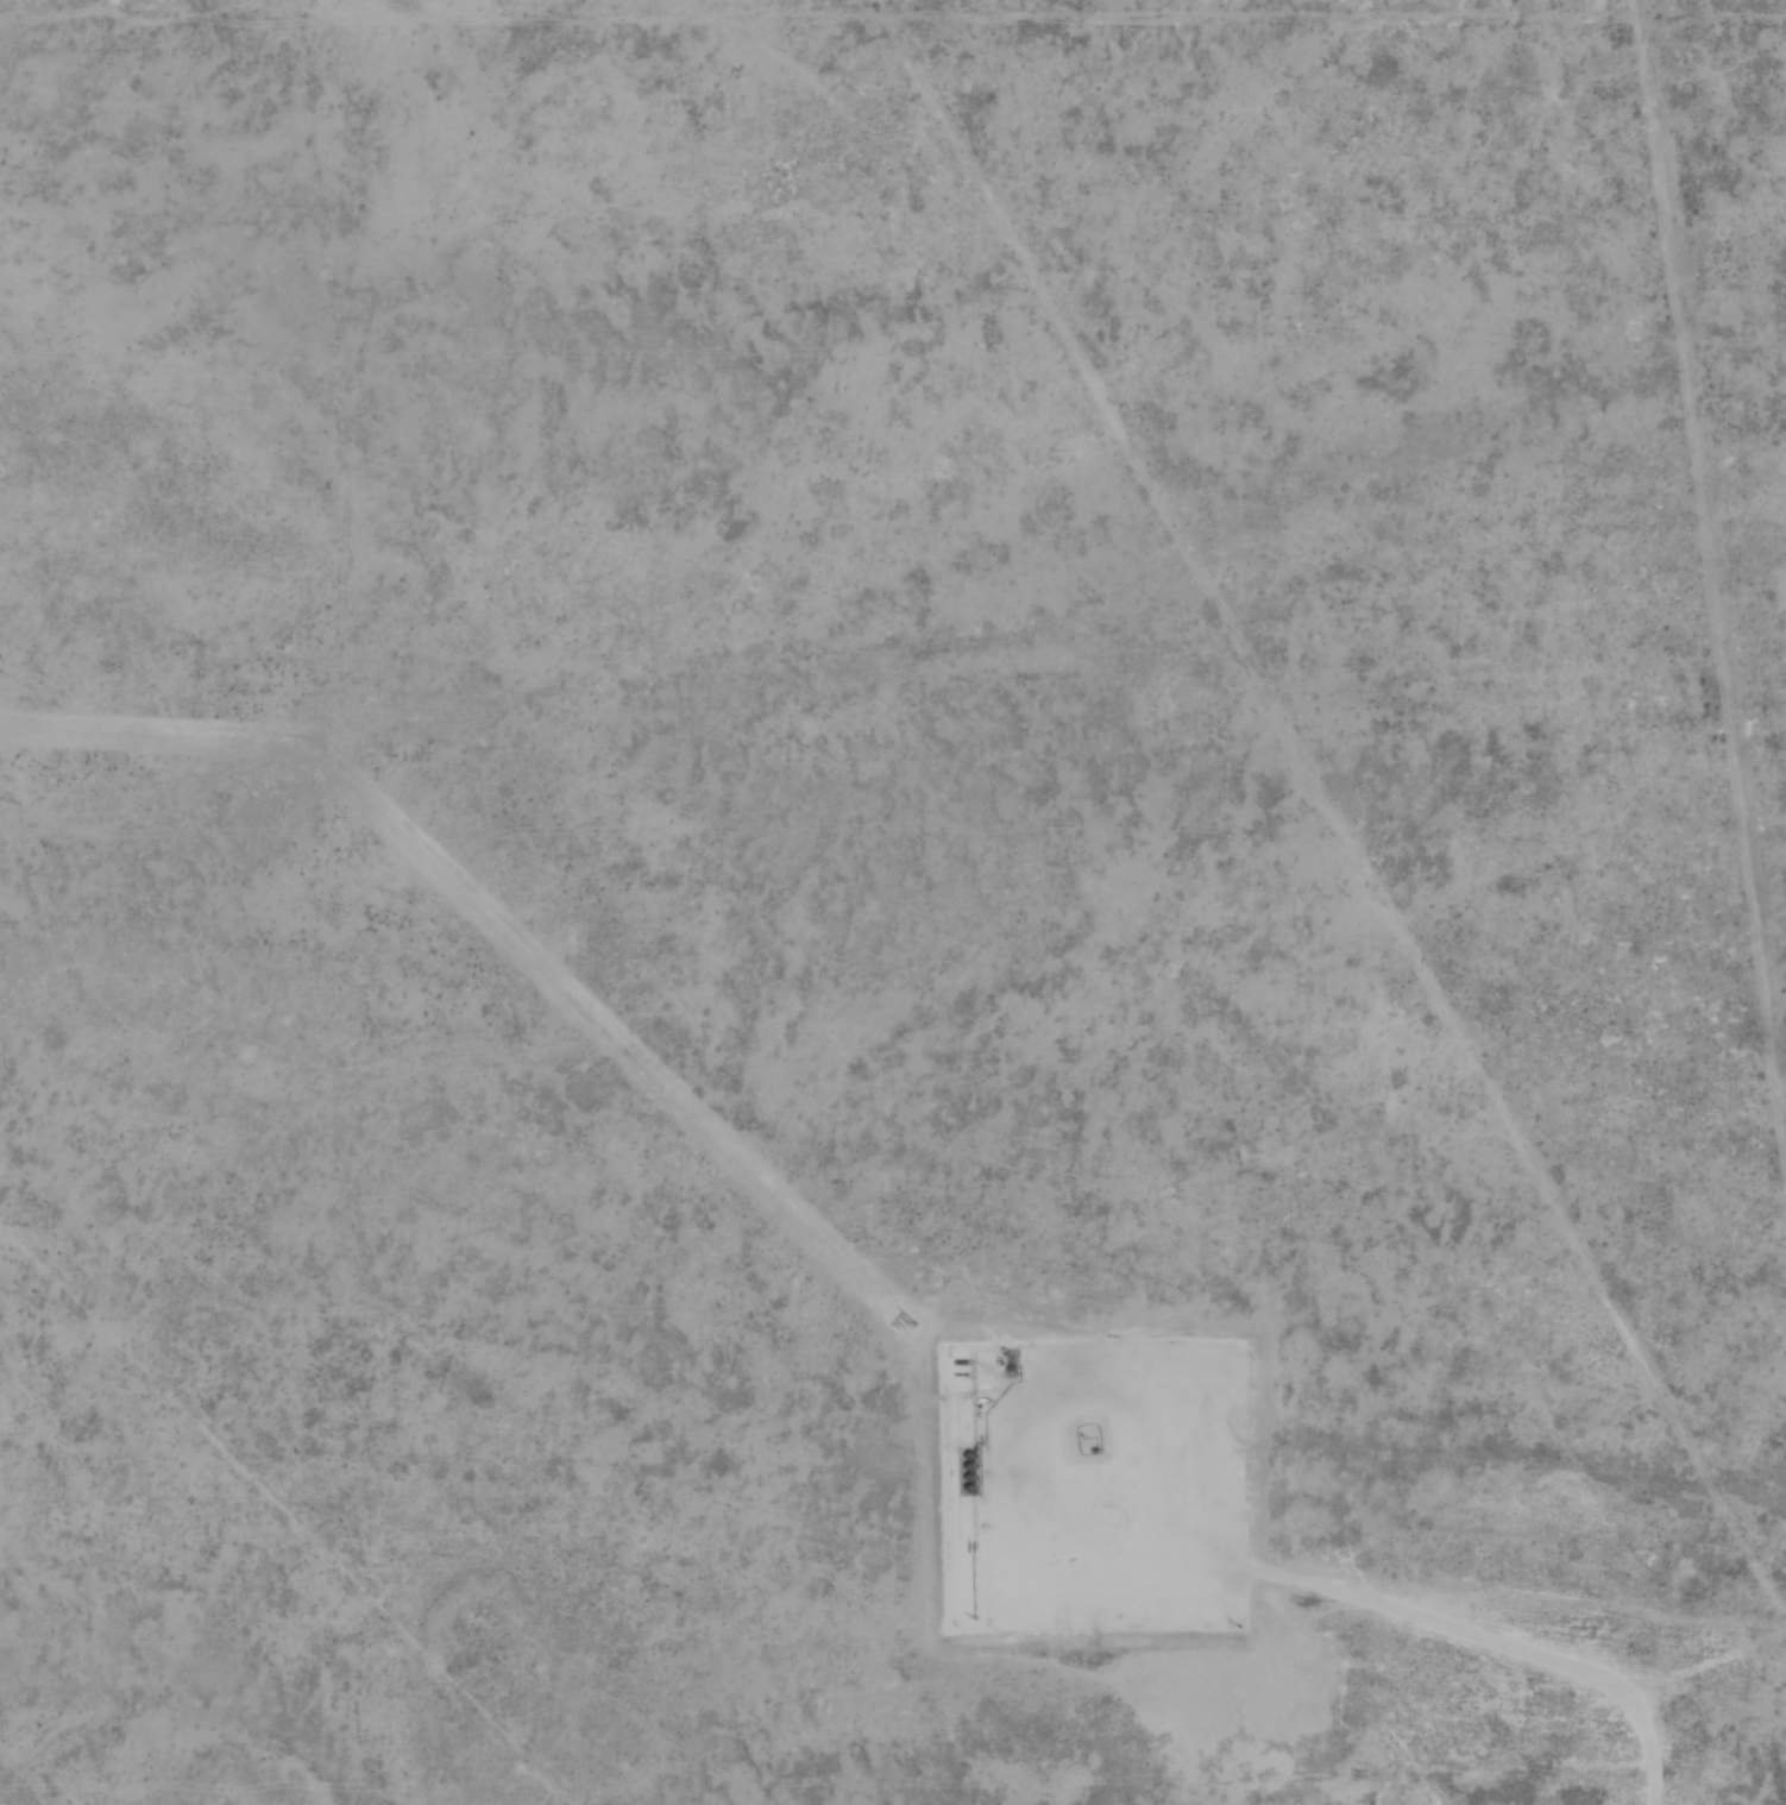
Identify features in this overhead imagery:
road: (1473, 1646)

